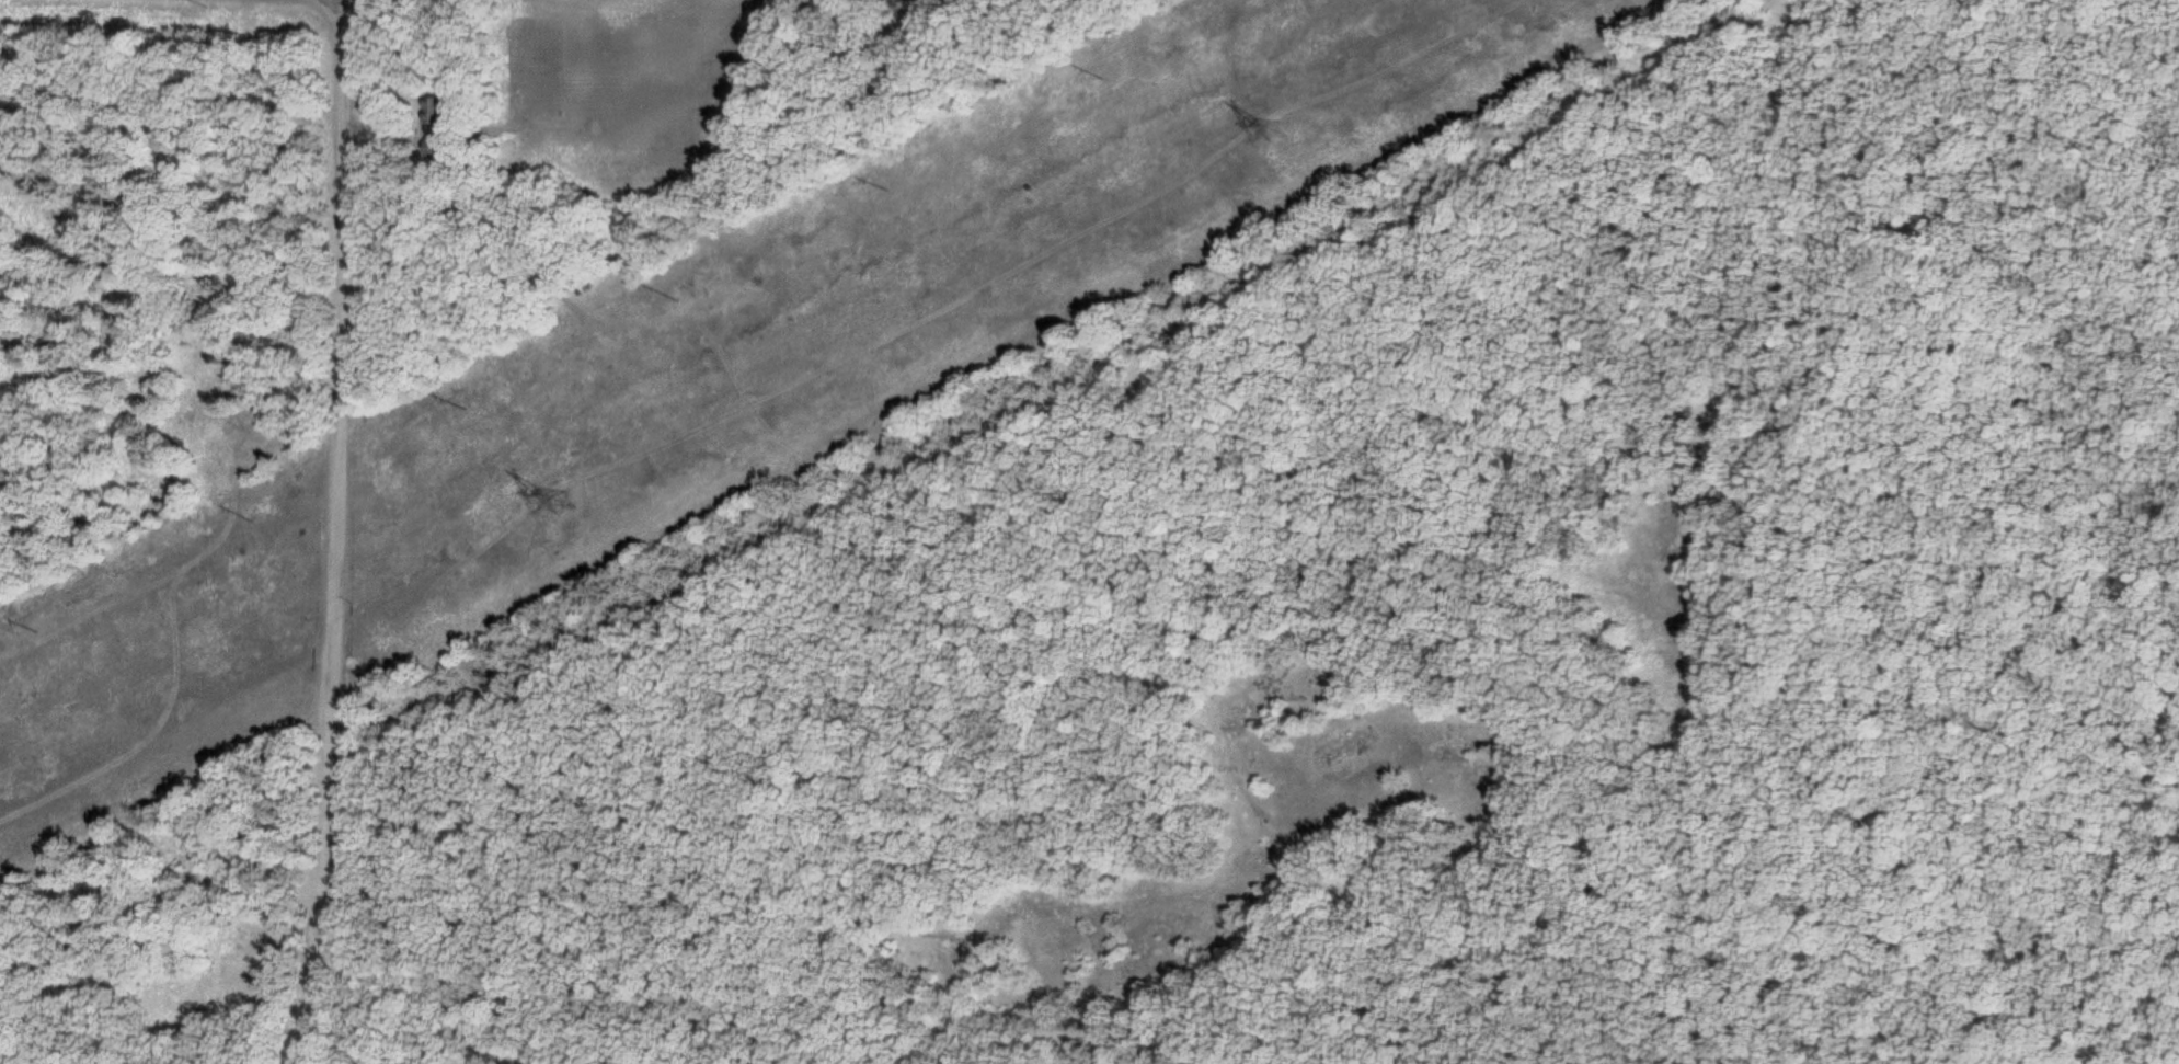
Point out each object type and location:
building: (438, 127)
power tower: (1275, 133)
power tower: (562, 502)
road: (336, 531)

